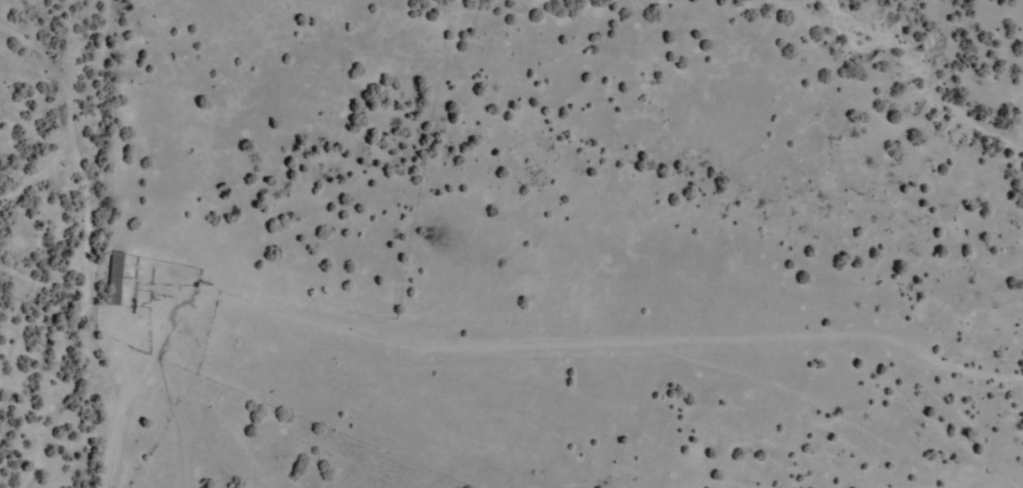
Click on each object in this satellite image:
building: (117, 278)

